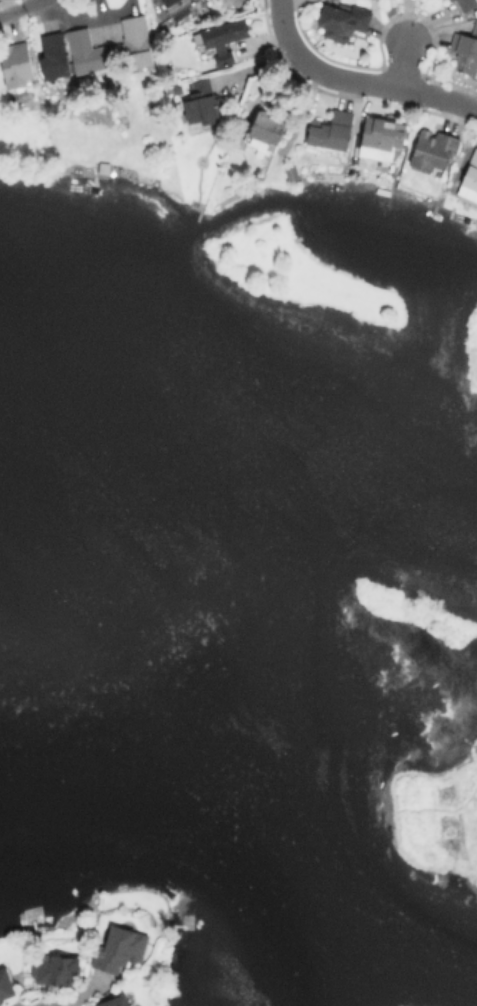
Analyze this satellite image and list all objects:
building: (449, 0)
building: (450, 0)
building: (466, 5)
building: (176, 6)
road: (22, 8)
building: (342, 23)
road: (282, 24)
building: (224, 39)
building: (133, 45)
building: (86, 52)
building: (465, 52)
building: (52, 57)
road: (405, 62)
building: (16, 66)
road: (380, 85)
building: (200, 105)
building: (266, 130)
building: (329, 131)
building: (380, 138)
building: (433, 150)
building: (471, 172)
park: (430, 811)
building: (119, 947)
building: (53, 966)
building: (6, 981)
building: (114, 1000)

